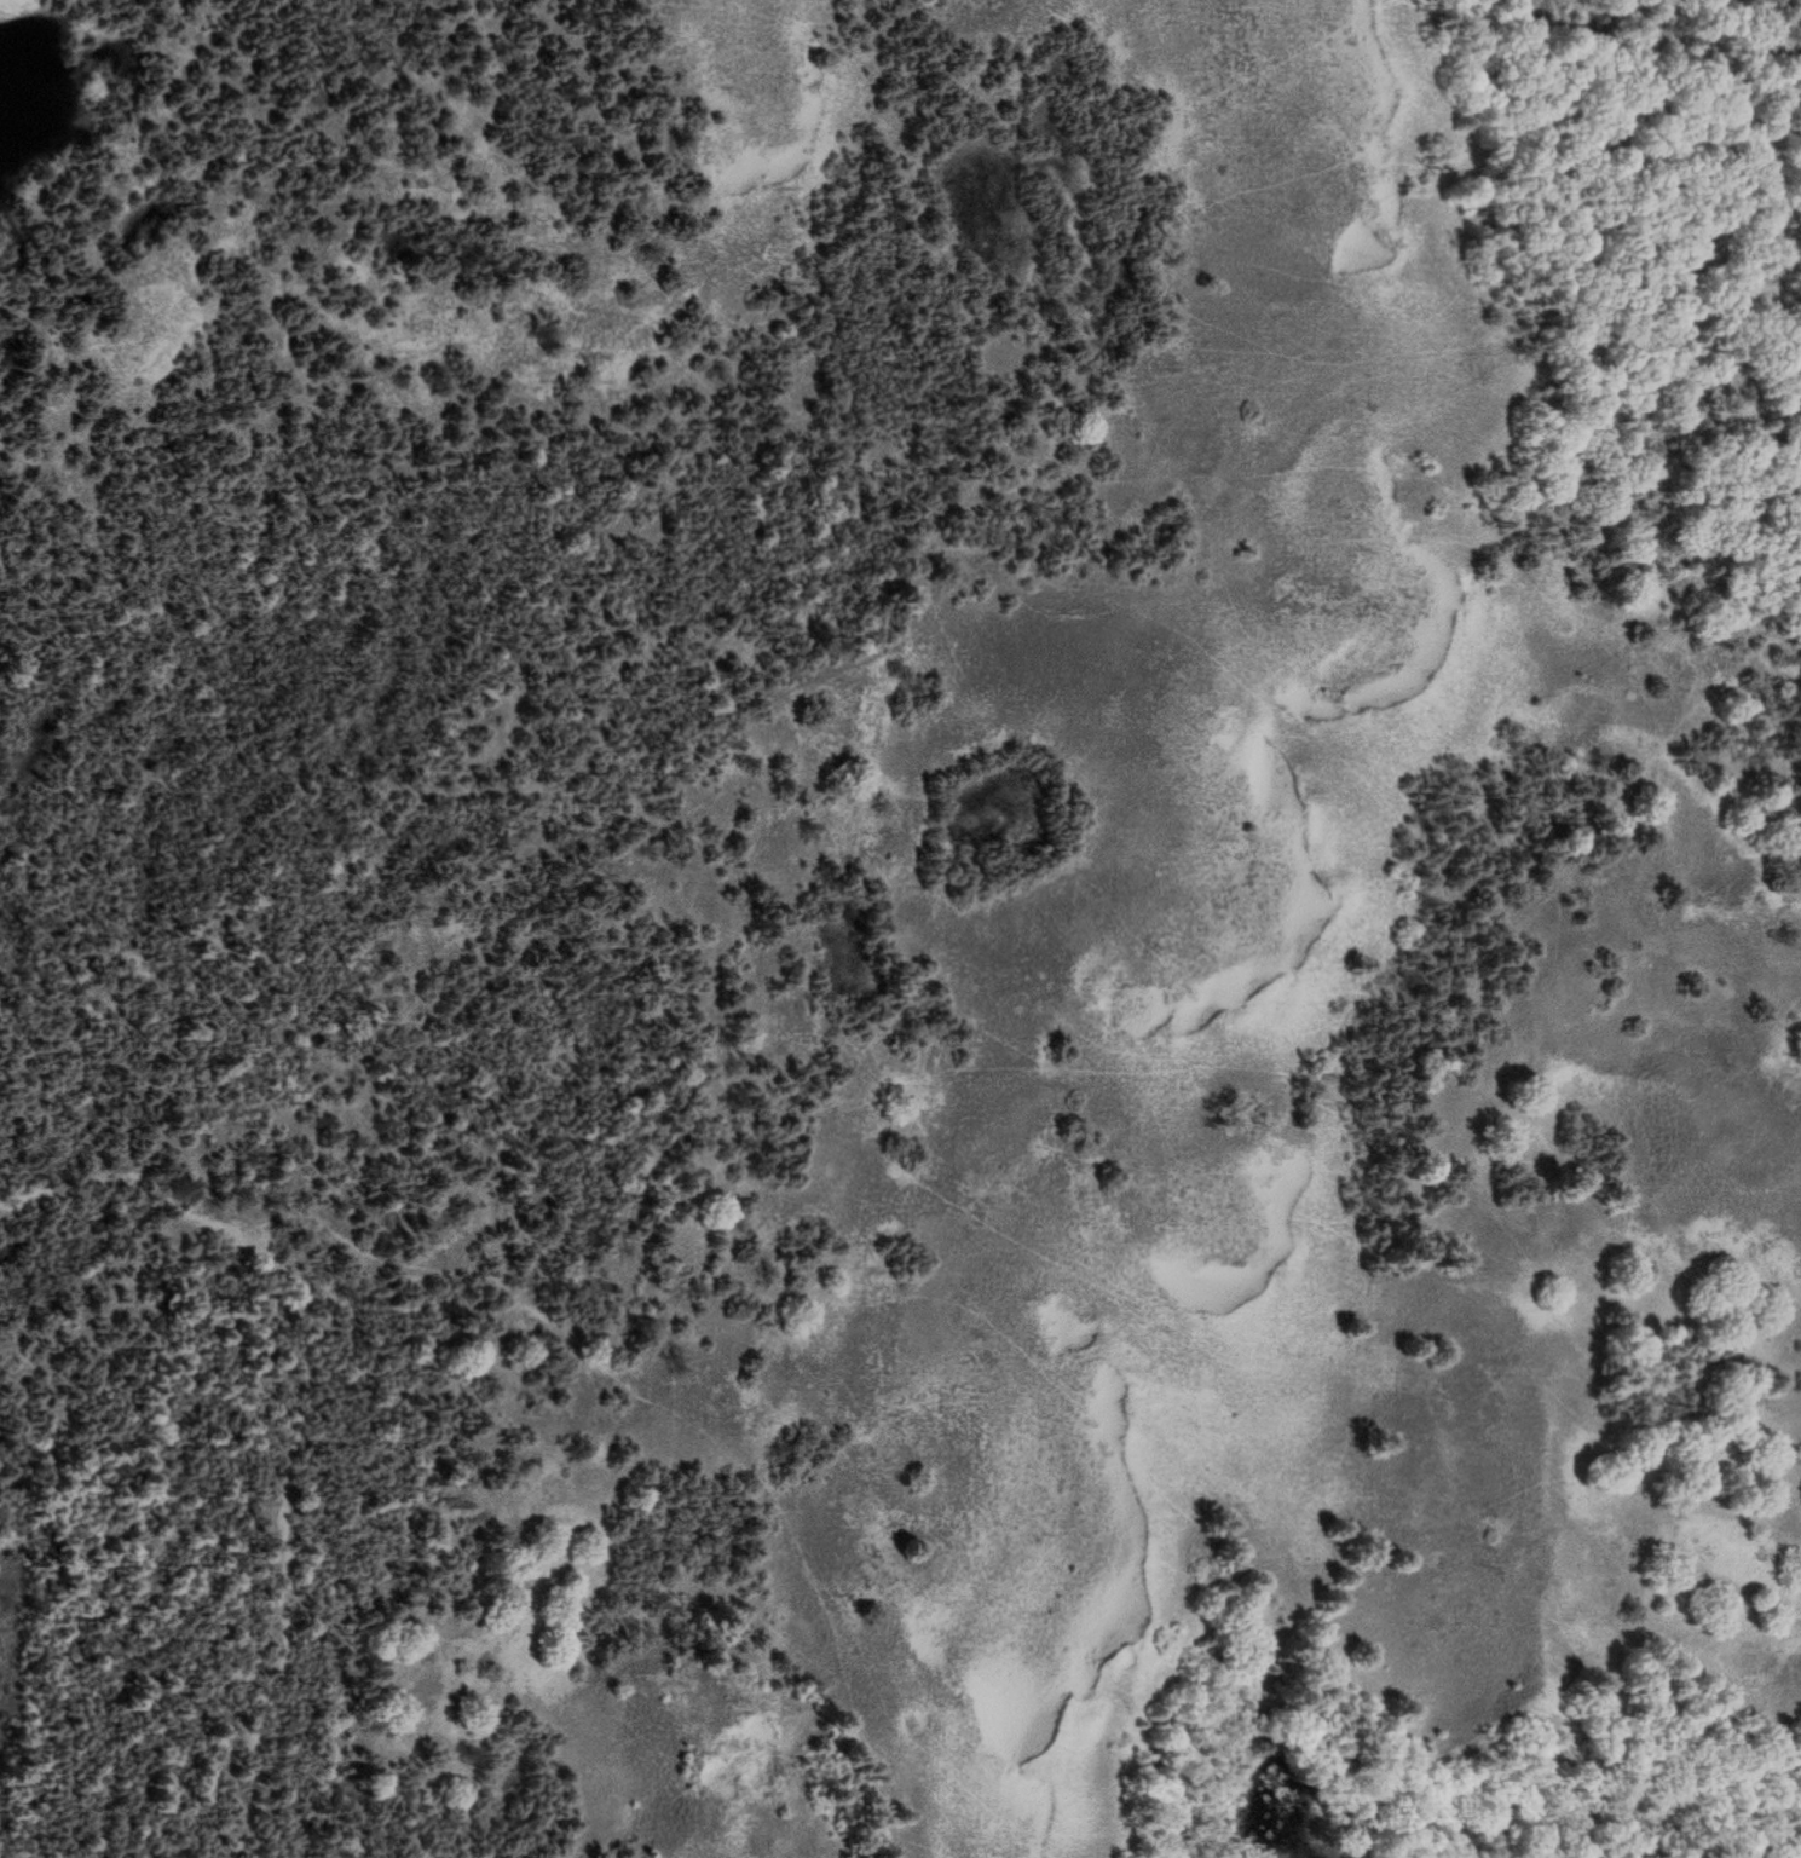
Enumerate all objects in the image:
park: (900, 929)
road: (306, 1409)

